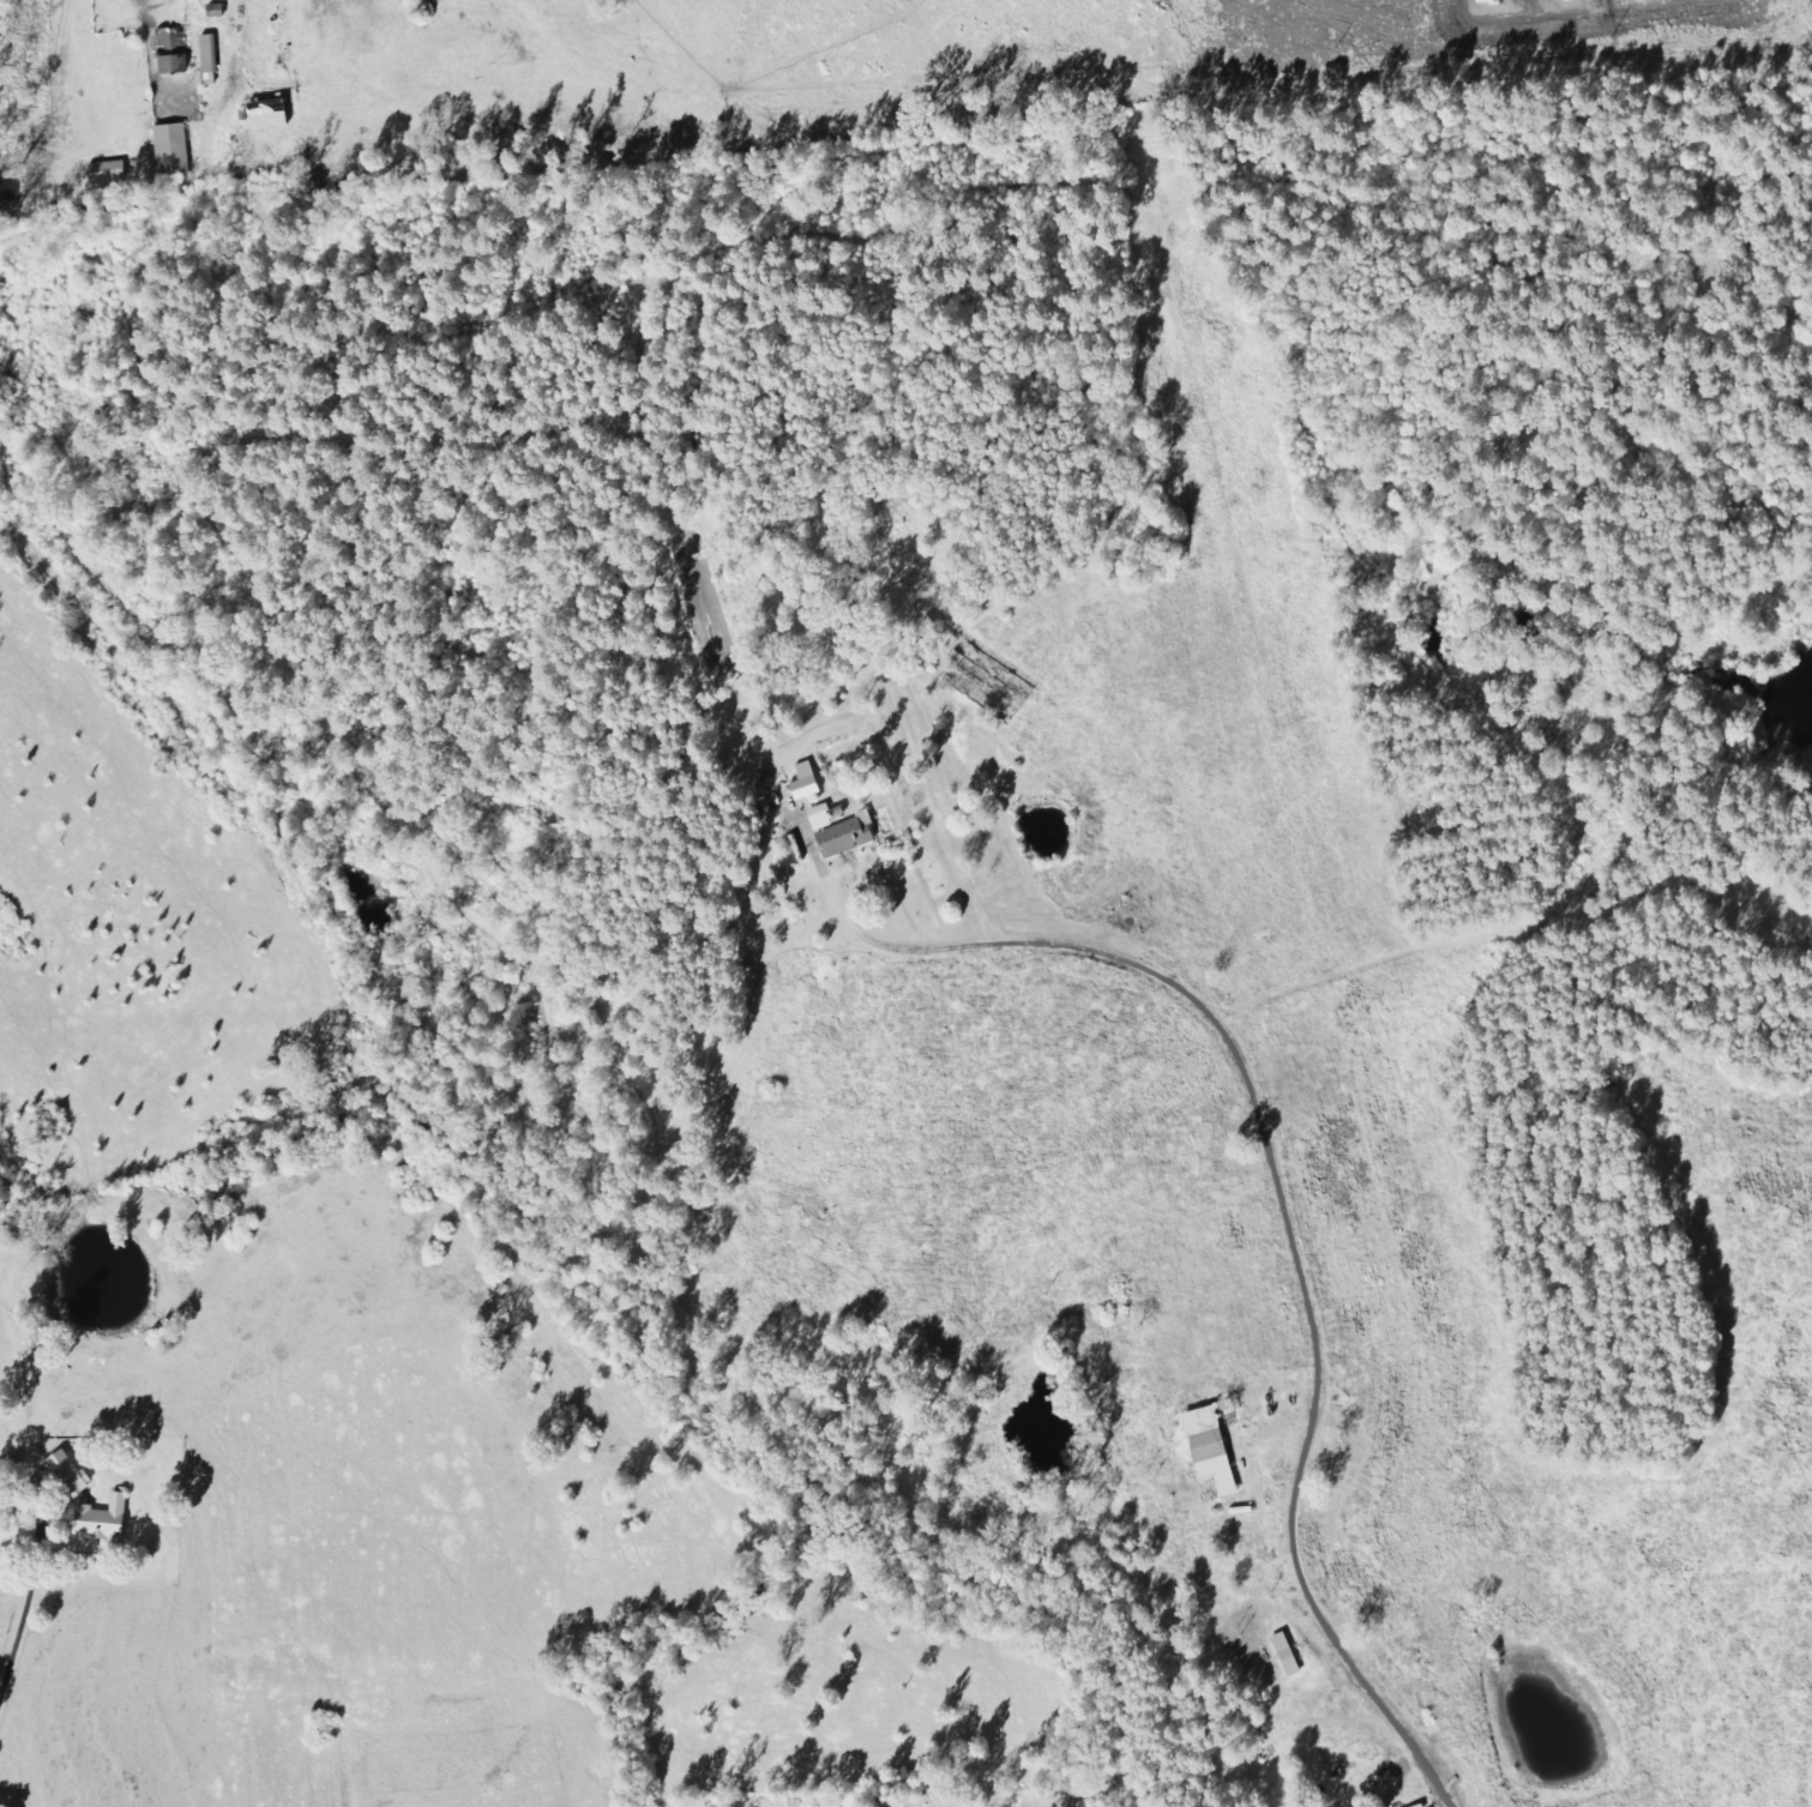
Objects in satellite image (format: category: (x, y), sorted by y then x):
building: (174, 52)
building: (210, 55)
building: (269, 119)
building: (173, 152)
building: (108, 173)
building: (806, 782)
building: (837, 813)
building: (821, 818)
road: (1119, 827)
building: (848, 836)
road: (1271, 1254)
building: (1211, 1450)
building: (90, 1502)
road: (760, 1700)

